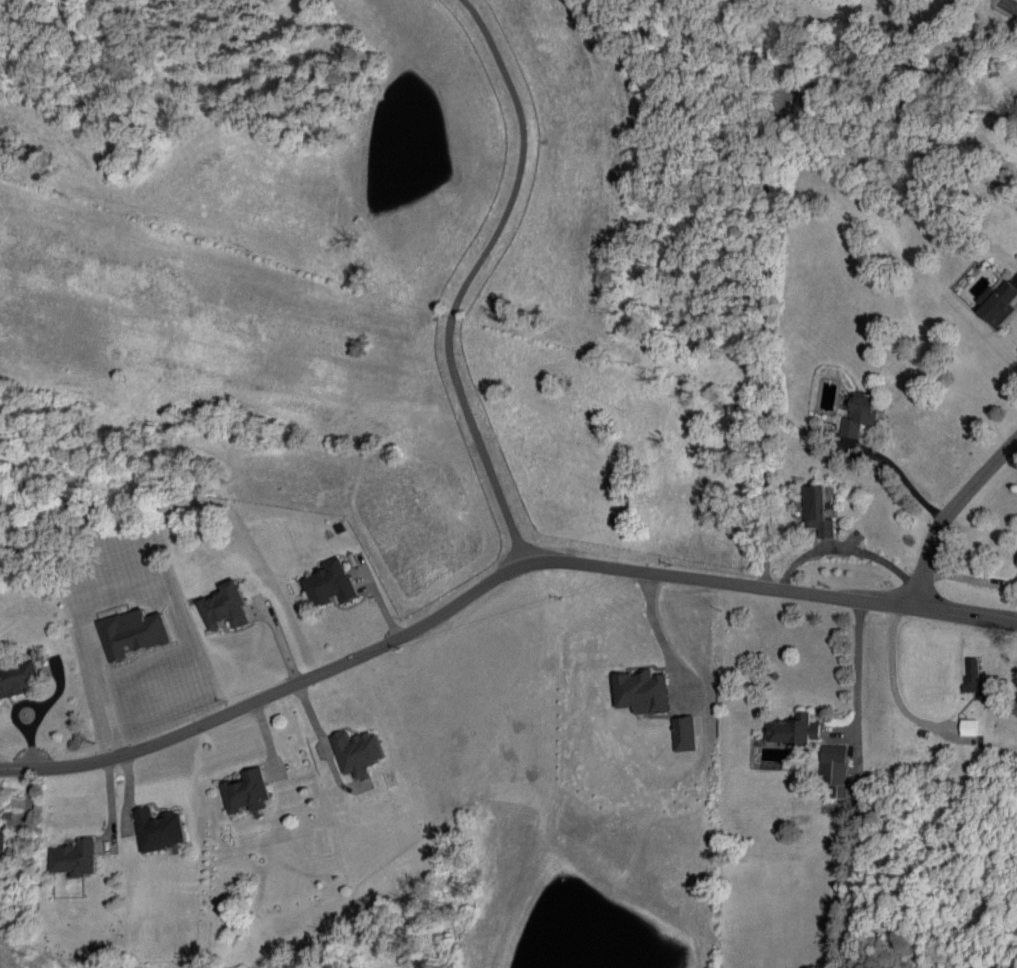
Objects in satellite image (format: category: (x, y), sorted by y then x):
road: (464, 280)
building: (998, 303)
building: (859, 413)
road: (905, 480)
building: (818, 511)
road: (949, 516)
road: (844, 550)
building: (330, 583)
road: (492, 584)
building: (226, 606)
building: (134, 633)
road: (658, 633)
building: (973, 674)
building: (17, 678)
road: (890, 685)
building: (642, 691)
road: (107, 701)
road: (15, 717)
building: (968, 727)
building: (794, 730)
building: (684, 733)
building: (358, 752)
building: (835, 769)
road: (857, 785)
building: (247, 791)
road: (111, 809)
building: (159, 829)
building: (2, 842)
building: (74, 858)

